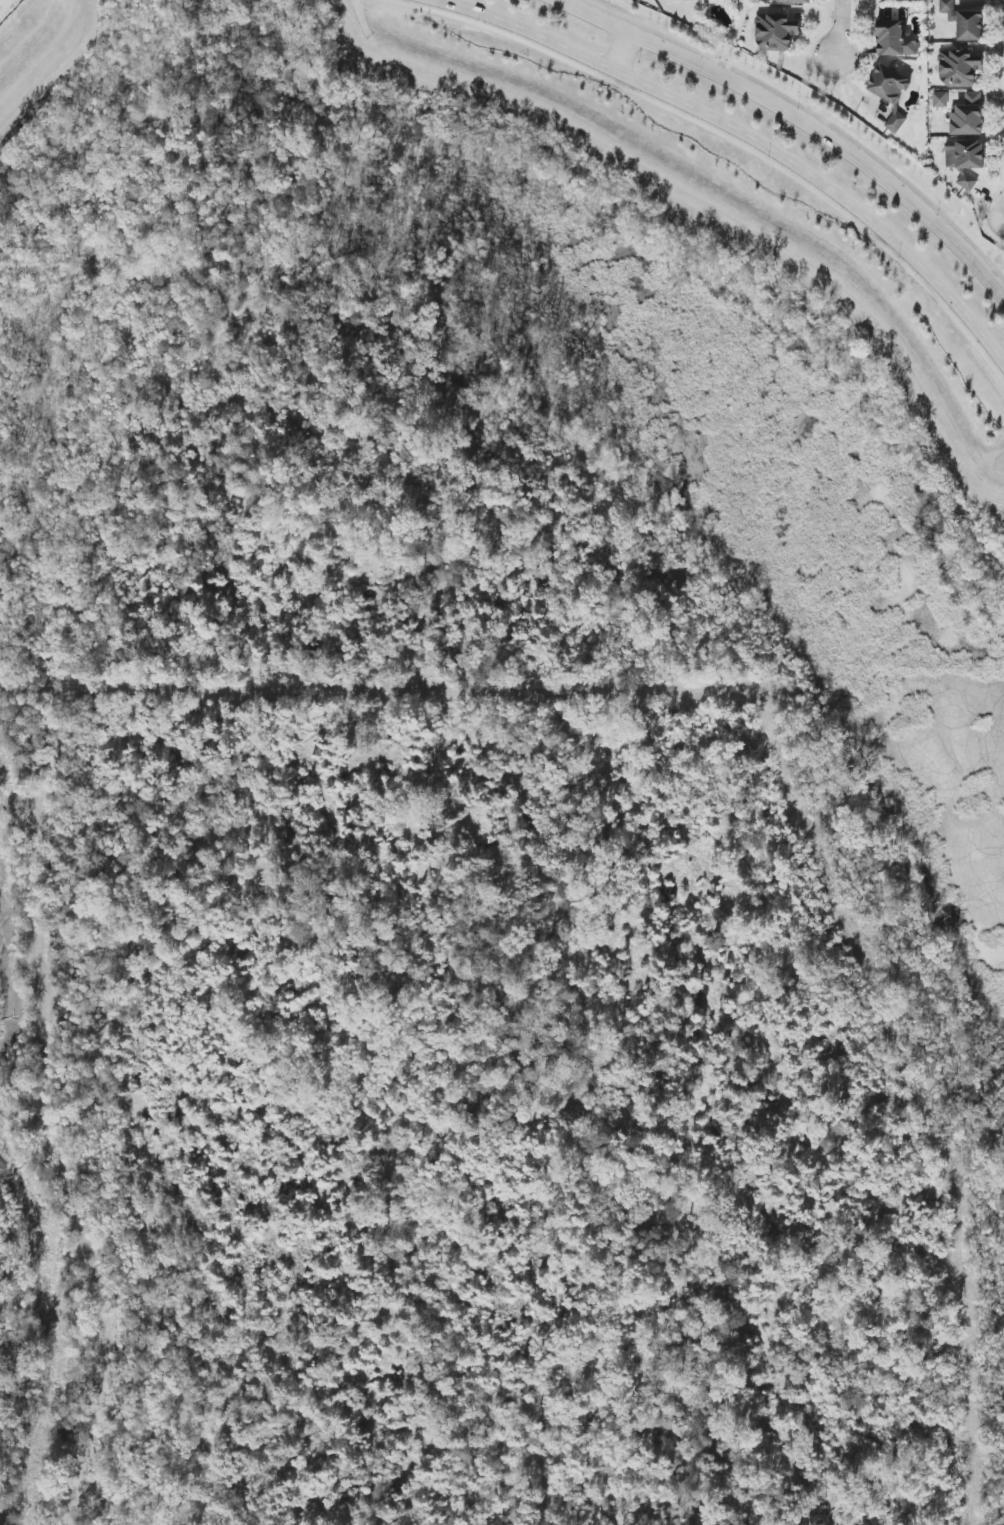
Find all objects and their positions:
building: (793, 1)
building: (948, 9)
building: (970, 25)
road: (840, 29)
building: (776, 31)
building: (895, 39)
road: (627, 51)
building: (960, 68)
building: (941, 100)
road: (801, 119)
building: (967, 120)
road: (750, 134)
building: (966, 160)

